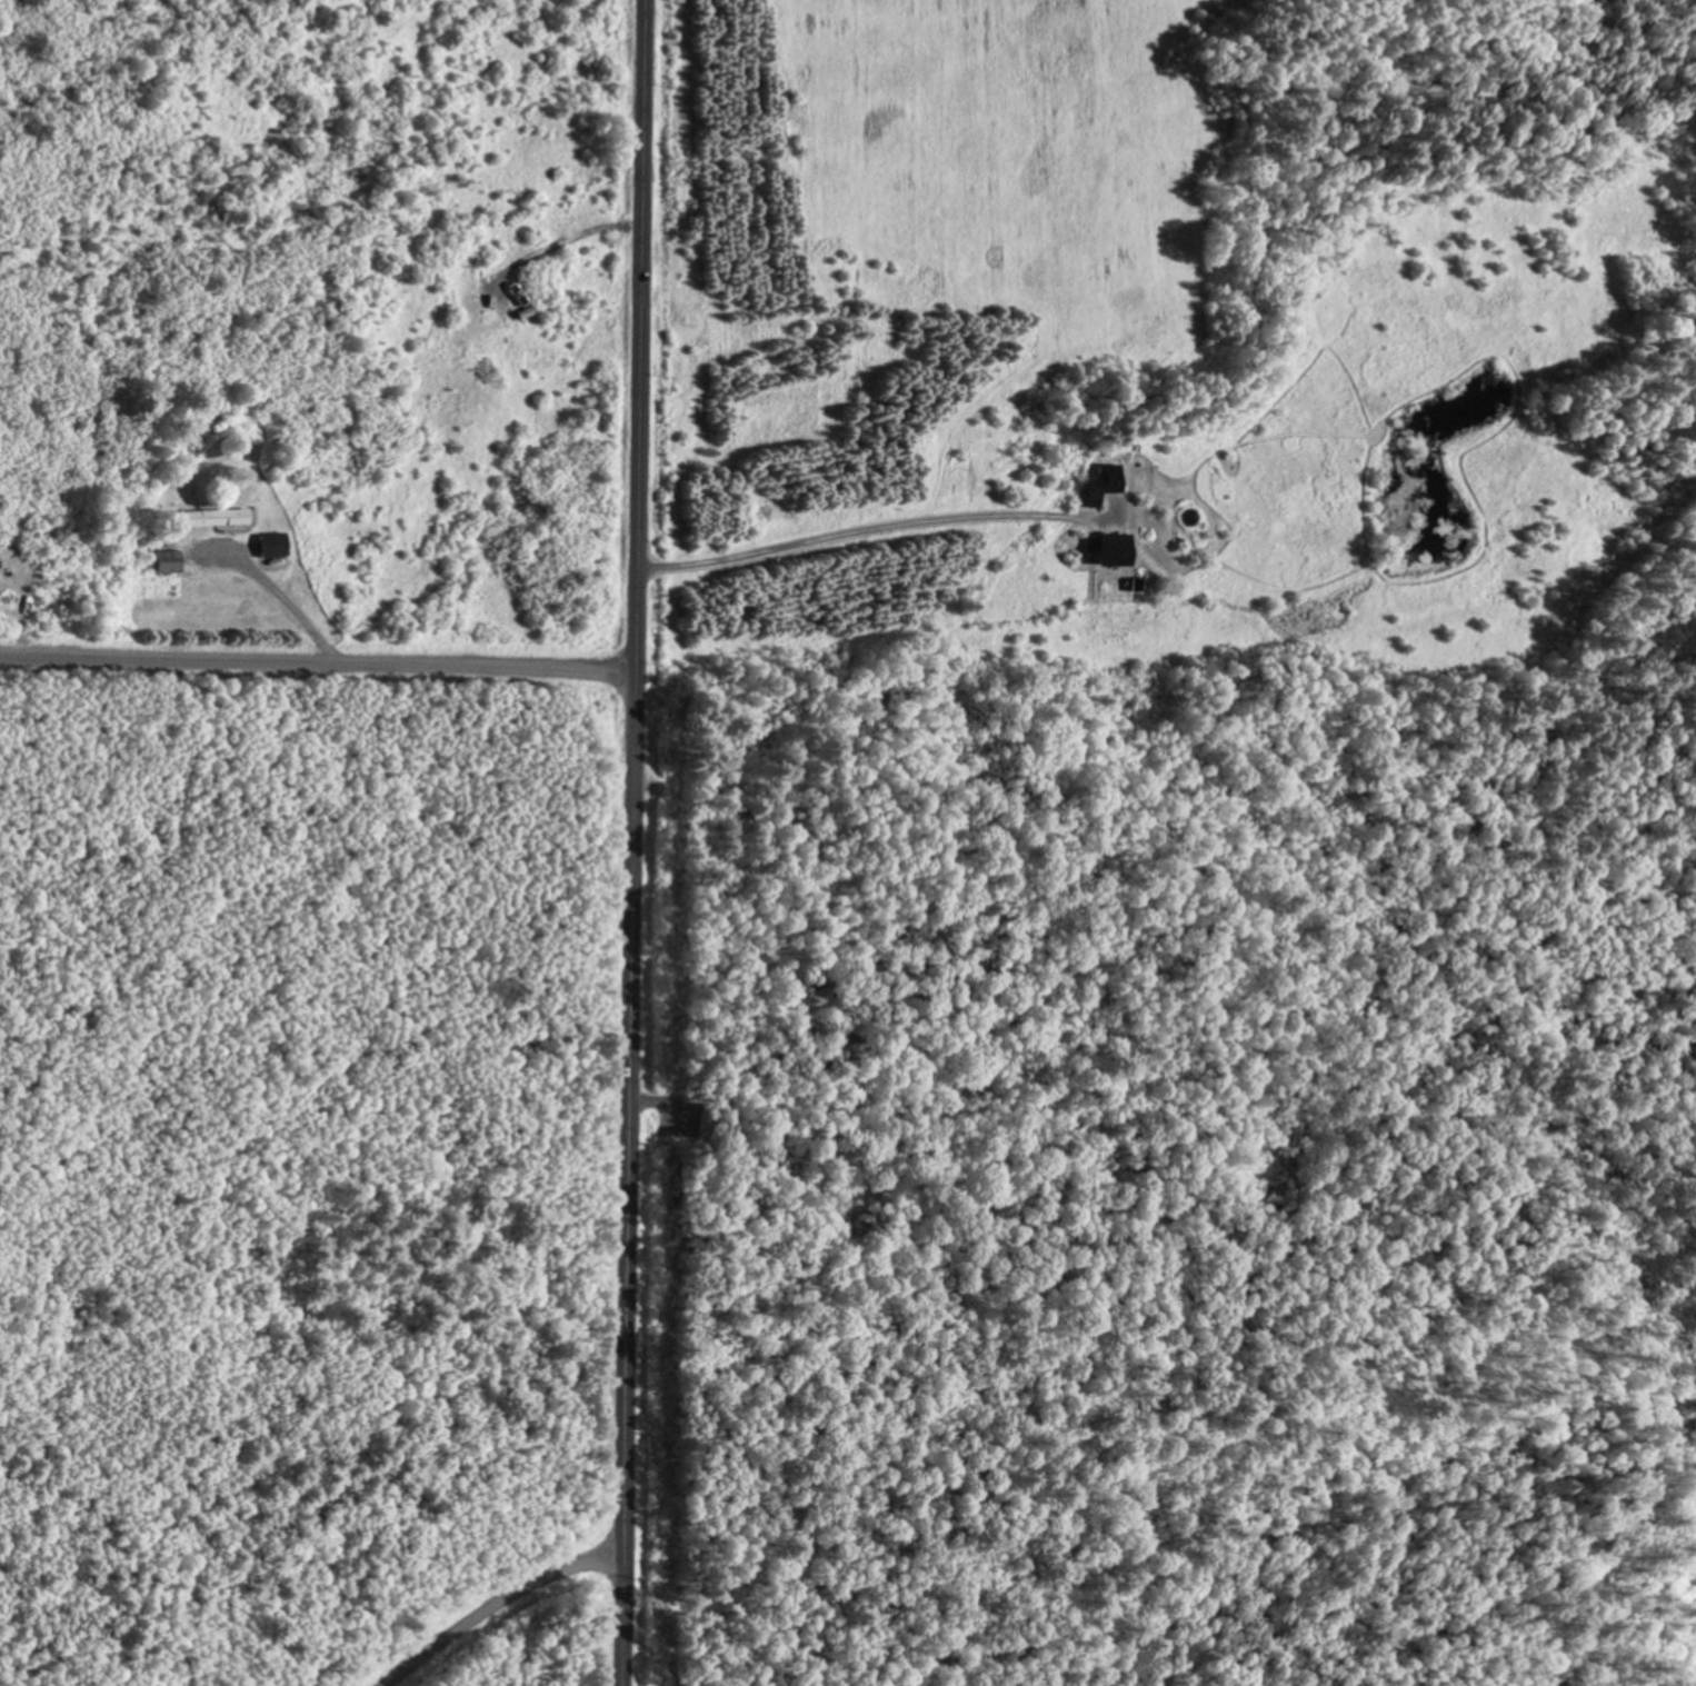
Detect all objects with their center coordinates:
crop: (935, 190)
building: (230, 448)
building: (1103, 481)
building: (211, 515)
road: (875, 529)
building: (272, 542)
building: (1108, 546)
building: (168, 559)
road: (289, 608)
road: (317, 664)
road: (631, 842)
road: (590, 1562)
road: (468, 1623)
park: (1148, 1660)

